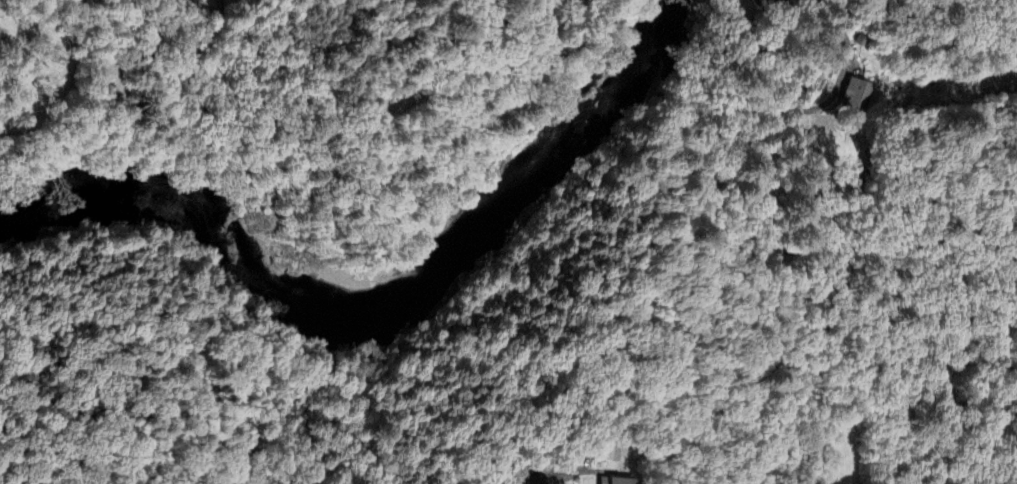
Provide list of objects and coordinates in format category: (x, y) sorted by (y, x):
building: (766, 1)
road: (994, 5)
building: (855, 95)
road: (812, 110)
river: (381, 273)
building: (609, 454)
building: (613, 481)

